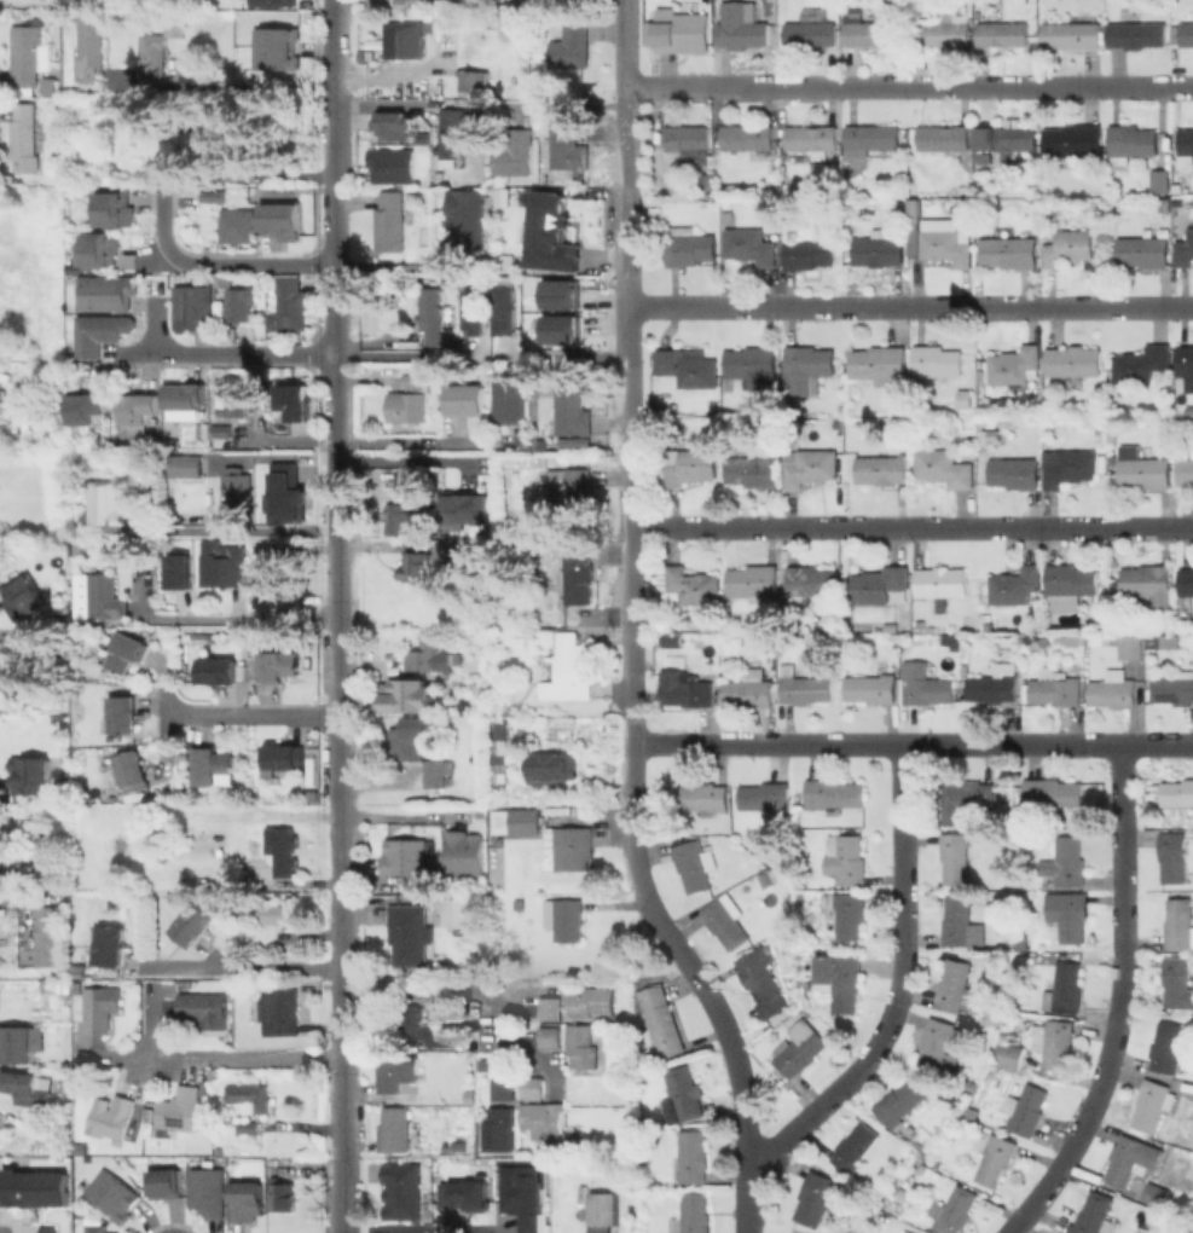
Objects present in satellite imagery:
building: (272, 2)
building: (175, 24)
building: (741, 24)
building: (871, 29)
building: (944, 30)
building: (677, 31)
building: (811, 33)
building: (1002, 33)
building: (1187, 33)
building: (1072, 34)
building: (1136, 34)
building: (400, 39)
road: (334, 45)
building: (92, 46)
building: (278, 48)
building: (569, 50)
building: (27, 53)
building: (152, 53)
building: (469, 80)
road: (908, 83)
road: (218, 87)
building: (394, 126)
road: (334, 135)
building: (451, 135)
building: (688, 135)
building: (27, 138)
building: (424, 138)
building: (812, 138)
building: (870, 138)
building: (1006, 138)
building: (751, 139)
building: (946, 139)
building: (1072, 140)
building: (1186, 141)
building: (1130, 143)
building: (563, 144)
building: (514, 152)
building: (226, 154)
building: (394, 166)
building: (1160, 179)
building: (706, 181)
building: (212, 198)
building: (117, 208)
building: (467, 216)
building: (728, 216)
building: (389, 221)
building: (237, 224)
building: (282, 224)
building: (549, 230)
building: (940, 242)
building: (689, 244)
building: (749, 244)
building: (1185, 245)
building: (1069, 247)
building: (879, 249)
building: (1009, 250)
building: (1143, 250)
building: (102, 251)
building: (809, 251)
road: (218, 262)
building: (105, 294)
building: (563, 295)
building: (241, 303)
building: (294, 305)
road: (910, 305)
building: (195, 308)
road: (334, 313)
building: (473, 313)
building: (504, 313)
building: (430, 314)
building: (563, 330)
building: (102, 334)
road: (227, 352)
road: (390, 355)
building: (1073, 360)
building: (936, 361)
building: (1186, 363)
building: (879, 364)
building: (1141, 364)
building: (687, 365)
building: (753, 365)
building: (1009, 365)
building: (806, 367)
building: (234, 399)
building: (409, 399)
building: (469, 400)
building: (512, 401)
building: (187, 403)
building: (296, 403)
building: (572, 407)
building: (672, 407)
building: (87, 409)
building: (139, 412)
road: (629, 417)
building: (221, 432)
building: (990, 438)
building: (572, 441)
road: (403, 458)
building: (689, 464)
building: (185, 465)
building: (810, 465)
building: (943, 467)
building: (1070, 467)
building: (752, 468)
building: (881, 468)
building: (1186, 468)
building: (1014, 471)
building: (1146, 473)
building: (416, 477)
building: (234, 486)
building: (572, 488)
building: (283, 493)
building: (108, 506)
building: (470, 509)
building: (398, 517)
road: (911, 523)
road: (242, 528)
building: (468, 554)
building: (221, 565)
building: (416, 565)
building: (176, 571)
building: (578, 574)
building: (753, 580)
building: (1186, 580)
building: (811, 581)
building: (879, 583)
building: (940, 583)
building: (694, 584)
building: (1147, 584)
building: (1014, 585)
building: (1071, 587)
building: (103, 596)
building: (24, 597)
road: (242, 616)
building: (1096, 626)
building: (674, 641)
building: (951, 641)
building: (1159, 641)
building: (1043, 644)
building: (1130, 646)
building: (126, 654)
building: (428, 656)
building: (282, 668)
building: (219, 671)
building: (572, 671)
building: (18, 673)
building: (923, 683)
building: (995, 683)
building: (804, 685)
building: (1174, 687)
building: (684, 688)
building: (749, 688)
building: (870, 688)
building: (1055, 689)
building: (1112, 691)
building: (409, 694)
road: (249, 710)
building: (123, 716)
building: (411, 739)
road: (911, 743)
building: (497, 746)
building: (286, 759)
building: (132, 766)
building: (214, 766)
building: (552, 768)
building: (31, 775)
building: (438, 775)
building: (1177, 791)
building: (833, 792)
building: (1050, 792)
building: (702, 794)
building: (966, 797)
building: (766, 799)
building: (1003, 812)
road: (279, 816)
road: (403, 816)
building: (525, 820)
building: (499, 838)
road: (340, 839)
building: (204, 844)
building: (572, 847)
building: (282, 855)
building: (955, 855)
building: (1172, 855)
building: (409, 857)
building: (467, 857)
building: (845, 857)
building: (690, 862)
building: (1064, 862)
building: (203, 875)
building: (766, 876)
building: (273, 910)
building: (457, 911)
building: (846, 913)
building: (1070, 916)
building: (566, 917)
building: (960, 921)
building: (1178, 921)
building: (724, 924)
building: (196, 925)
building: (407, 933)
building: (51, 936)
building: (1021, 938)
building: (110, 944)
building: (477, 962)
road: (243, 965)
building: (839, 979)
building: (760, 980)
building: (1177, 980)
building: (956, 985)
building: (1065, 988)
road: (898, 989)
road: (442, 991)
building: (591, 1001)
road: (1118, 1001)
building: (100, 1007)
building: (205, 1007)
building: (550, 1007)
building: (279, 1009)
building: (661, 1019)
building: (411, 1024)
road: (723, 1024)
building: (447, 1031)
building: (548, 1036)
building: (1054, 1042)
building: (940, 1043)
building: (17, 1046)
building: (1166, 1046)
building: (581, 1047)
building: (799, 1047)
building: (1008, 1053)
road: (237, 1057)
building: (609, 1058)
building: (395, 1072)
building: (972, 1084)
building: (532, 1087)
building: (504, 1089)
building: (27, 1090)
building: (682, 1093)
building: (249, 1094)
building: (624, 1094)
building: (473, 1095)
building: (900, 1104)
building: (1152, 1104)
building: (181, 1110)
building: (971, 1110)
building: (1025, 1110)
building: (543, 1117)
building: (112, 1118)
building: (249, 1125)
building: (1, 1127)
building: (500, 1127)
building: (394, 1129)
building: (461, 1144)
building: (855, 1146)
building: (691, 1156)
building: (995, 1158)
building: (1130, 1158)
building: (167, 1185)
building: (880, 1185)
building: (37, 1189)
building: (399, 1189)
building: (209, 1192)
building: (467, 1193)
building: (902, 1193)
building: (1158, 1193)
building: (520, 1194)
building: (114, 1196)
building: (283, 1197)
building: (815, 1197)
building: (248, 1203)
building: (954, 1209)
building: (598, 1211)
building: (691, 1214)
building: (1094, 1214)
building: (99, 1229)
road: (5, 1232)

